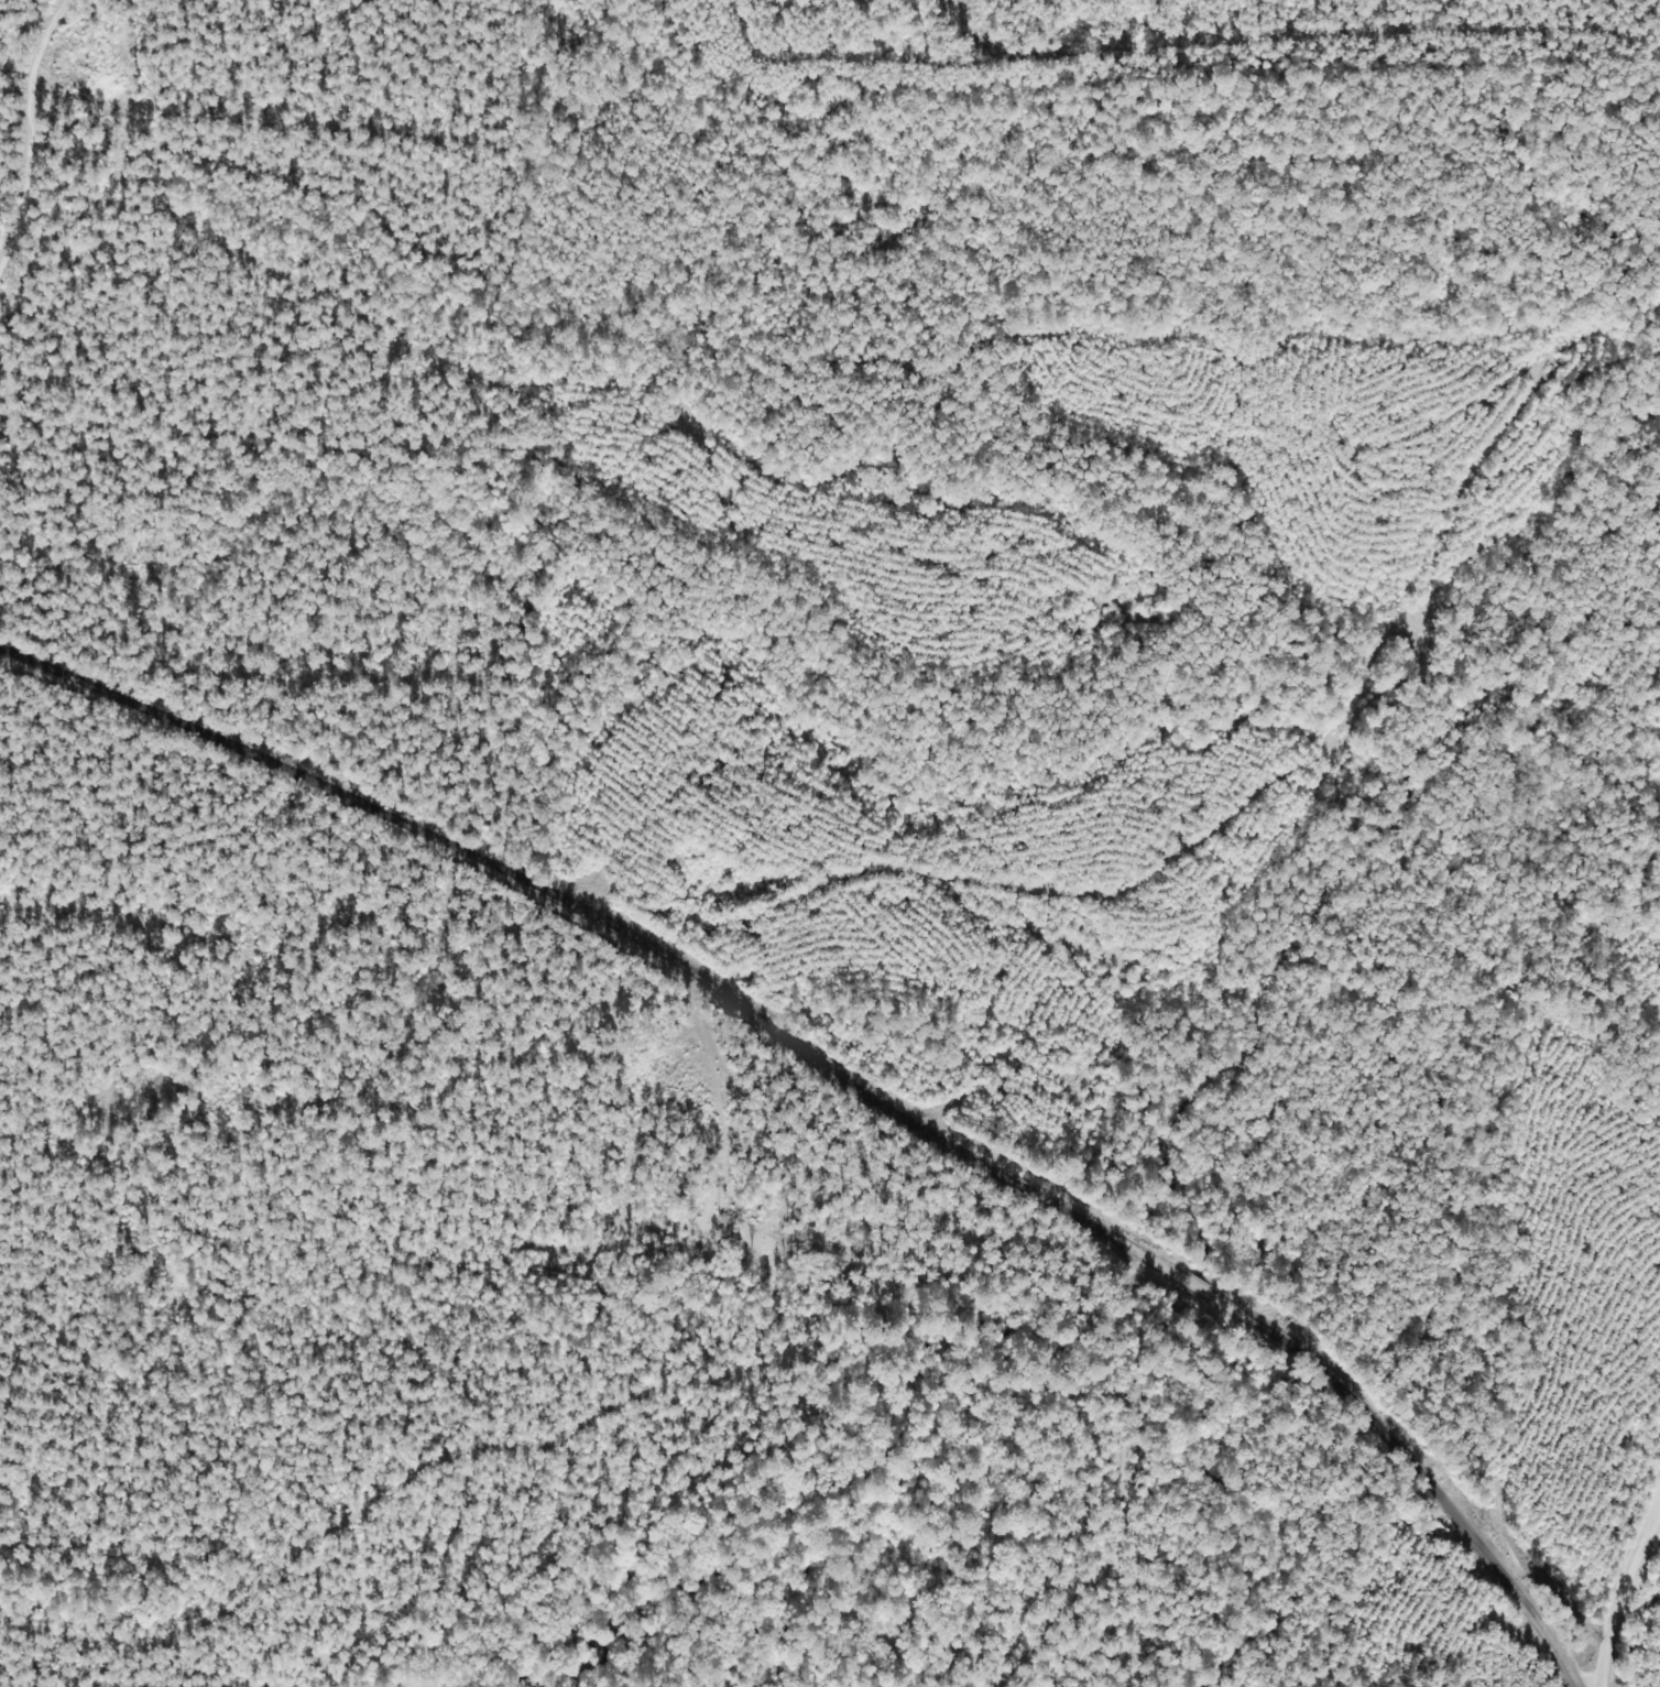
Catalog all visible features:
road: (633, 982)
road: (1410, 1517)
road: (1627, 1611)
road: (1599, 1676)

